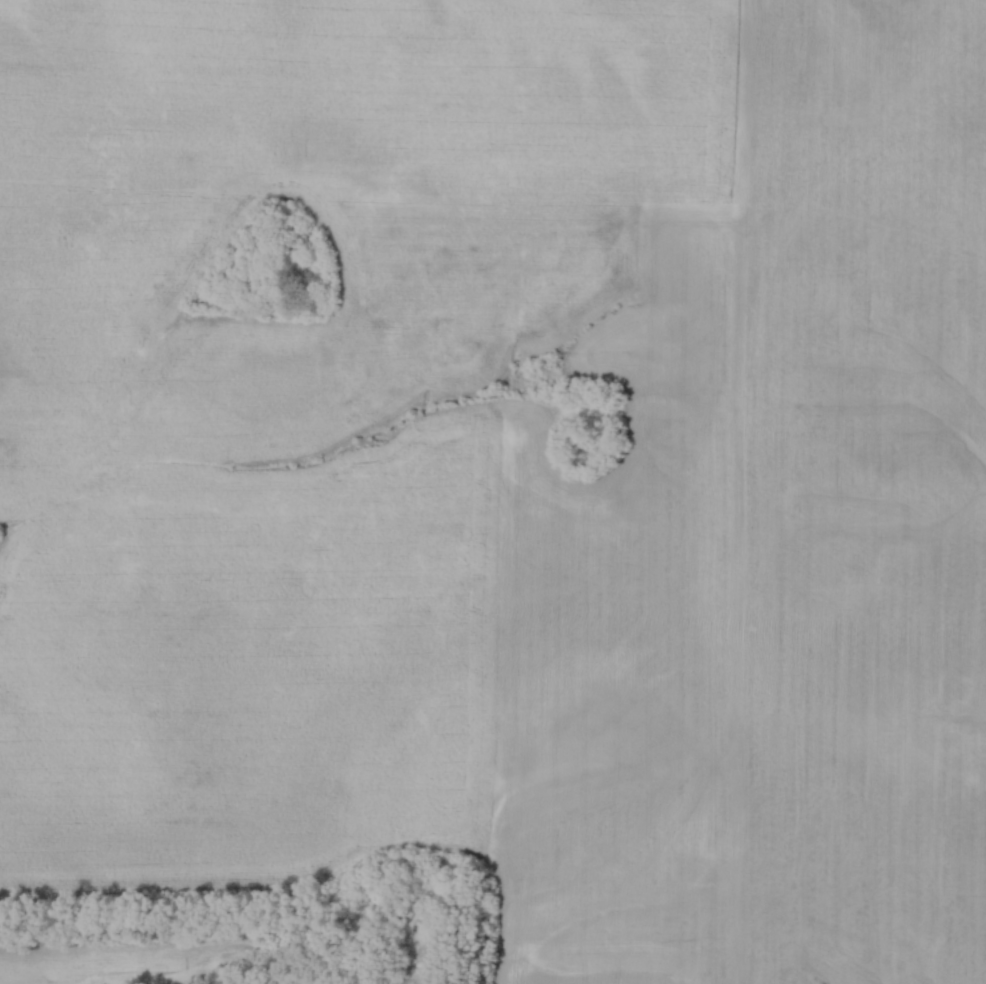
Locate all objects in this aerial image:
crop: (111, 959)

